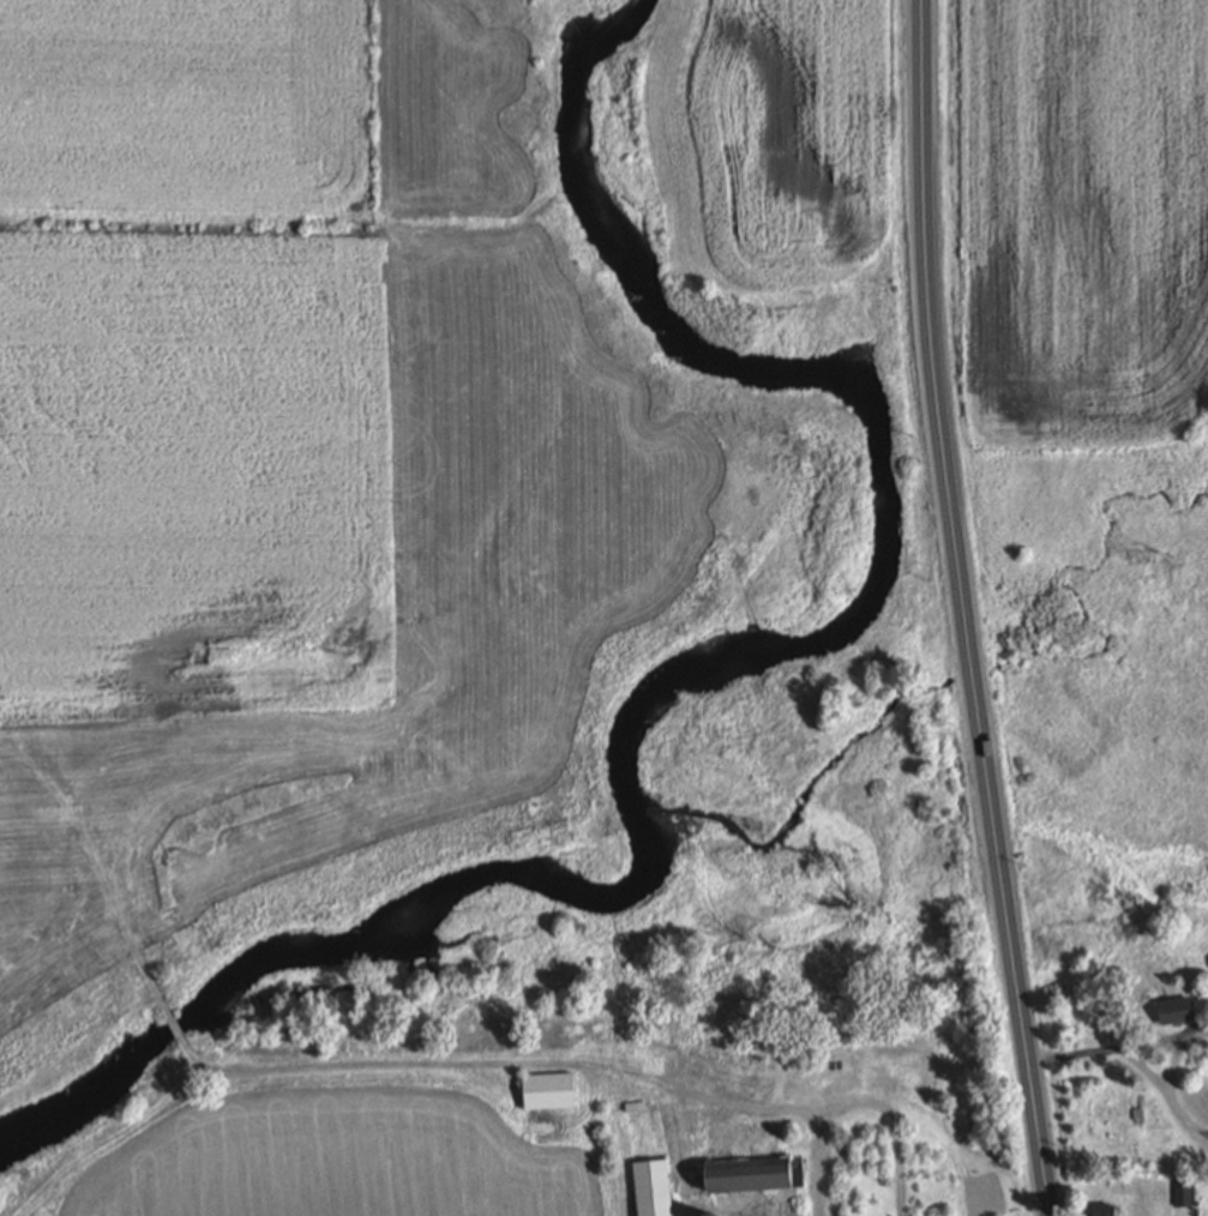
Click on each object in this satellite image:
crop: (187, 106)
crop: (1083, 210)
crop: (192, 474)
road: (963, 609)
river: (684, 673)
building: (1176, 1016)
building: (900, 1067)
building: (842, 1071)
building: (549, 1090)
road: (859, 1102)
building: (636, 1106)
building: (693, 1136)
crop: (329, 1162)
road: (818, 1163)
building: (756, 1173)
building: (653, 1187)
building: (1183, 1193)
building: (1105, 1211)
building: (708, 1214)
silo: (708, 1214)

